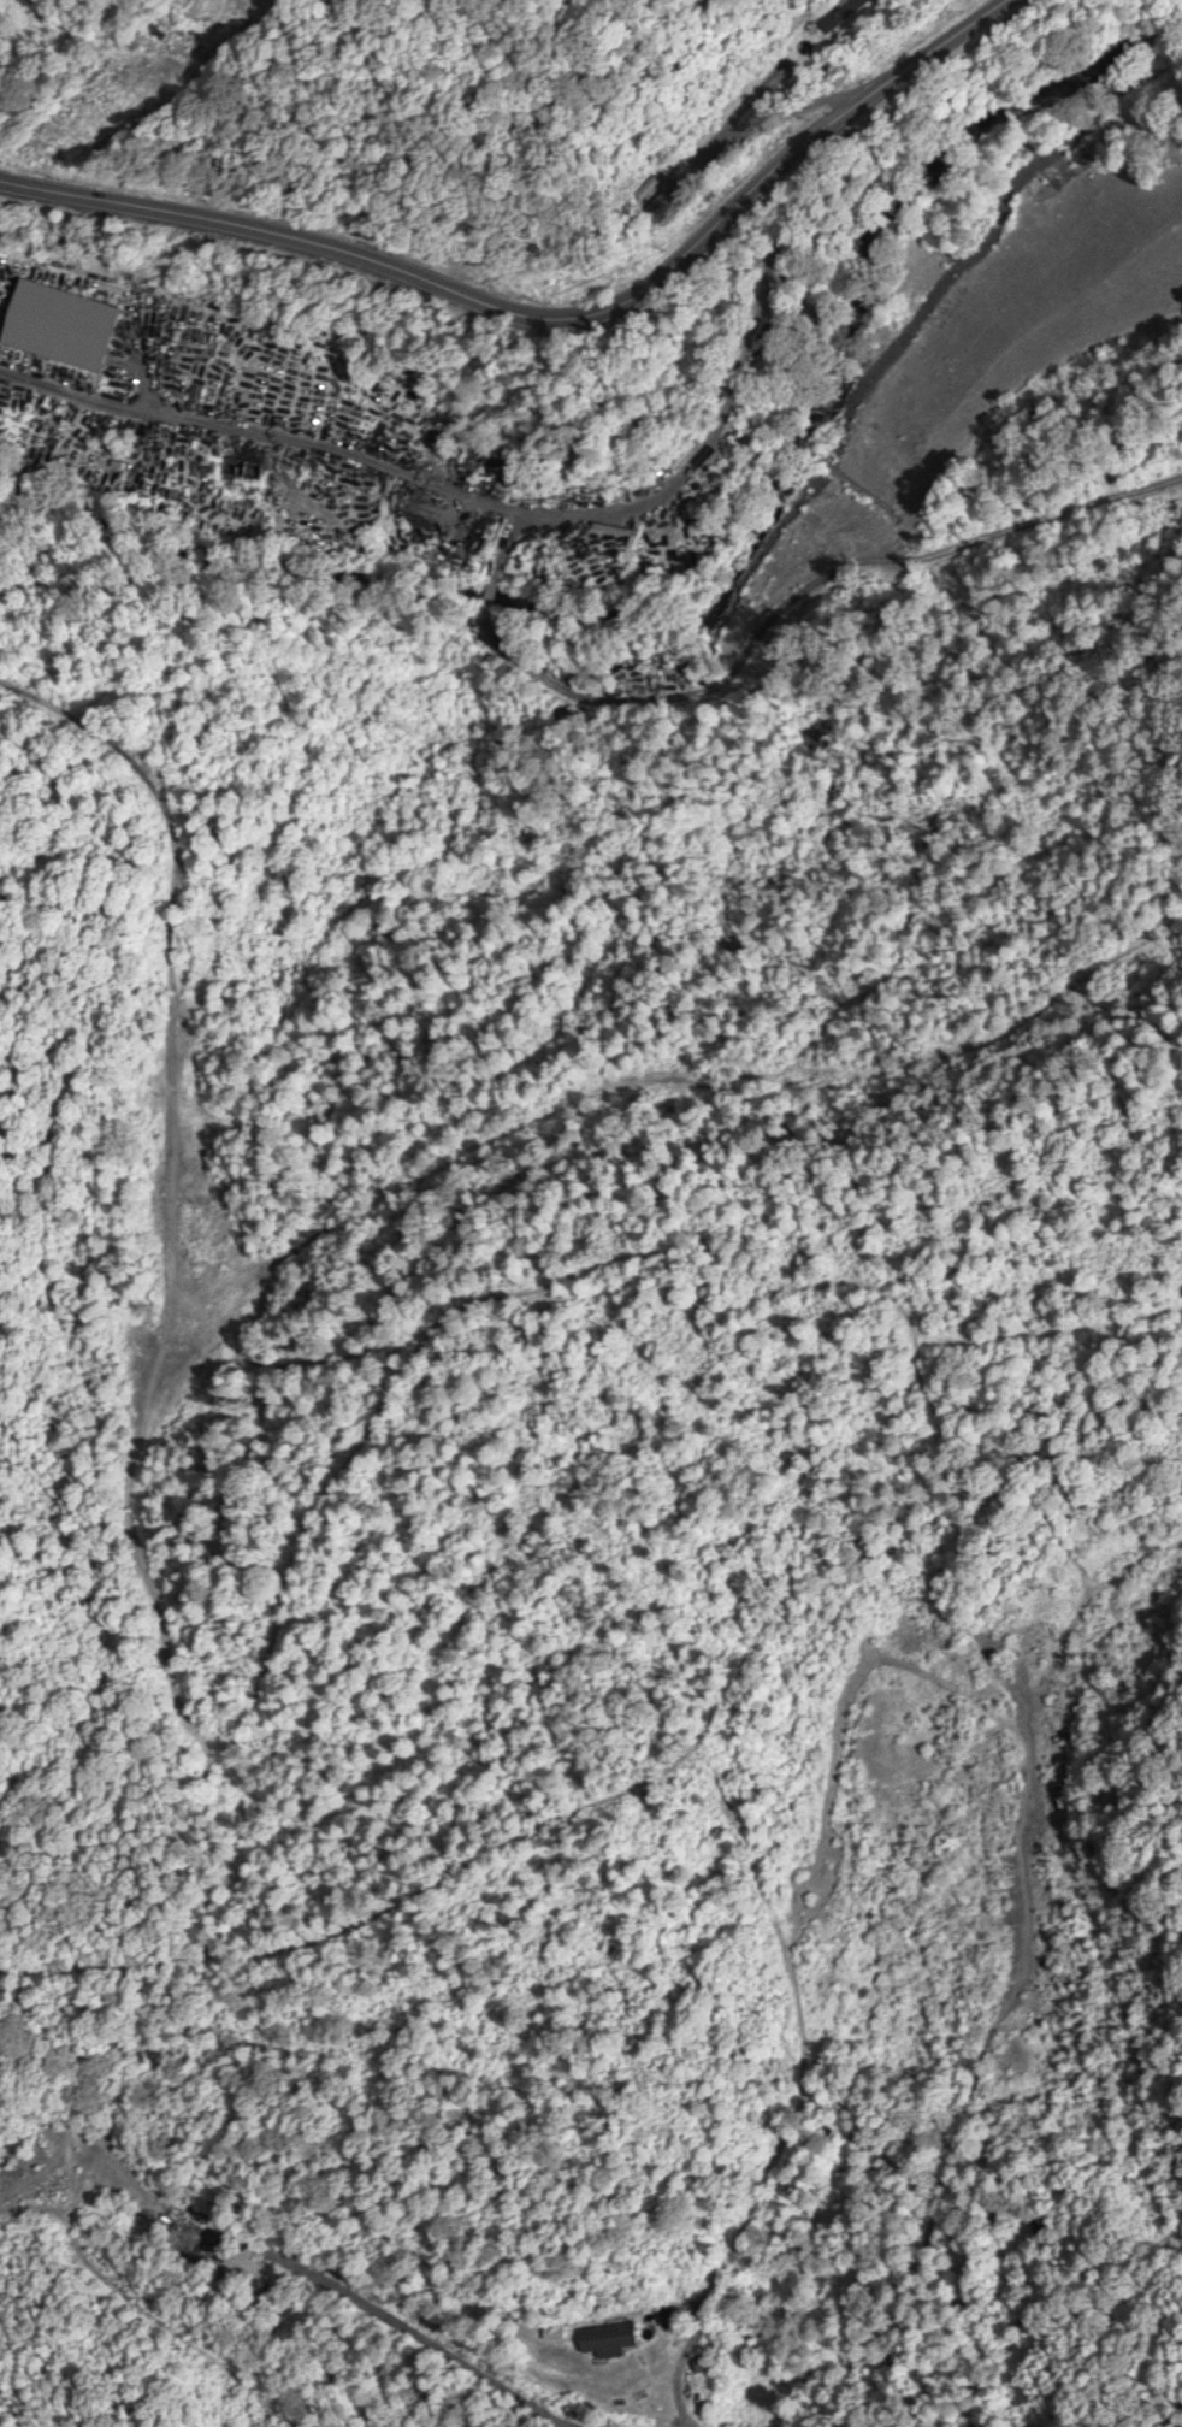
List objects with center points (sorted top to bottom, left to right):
building: (839, 14)
road: (770, 122)
building: (658, 207)
road: (548, 317)
building: (60, 324)
road: (729, 395)
building: (248, 2270)
building: (608, 2339)

